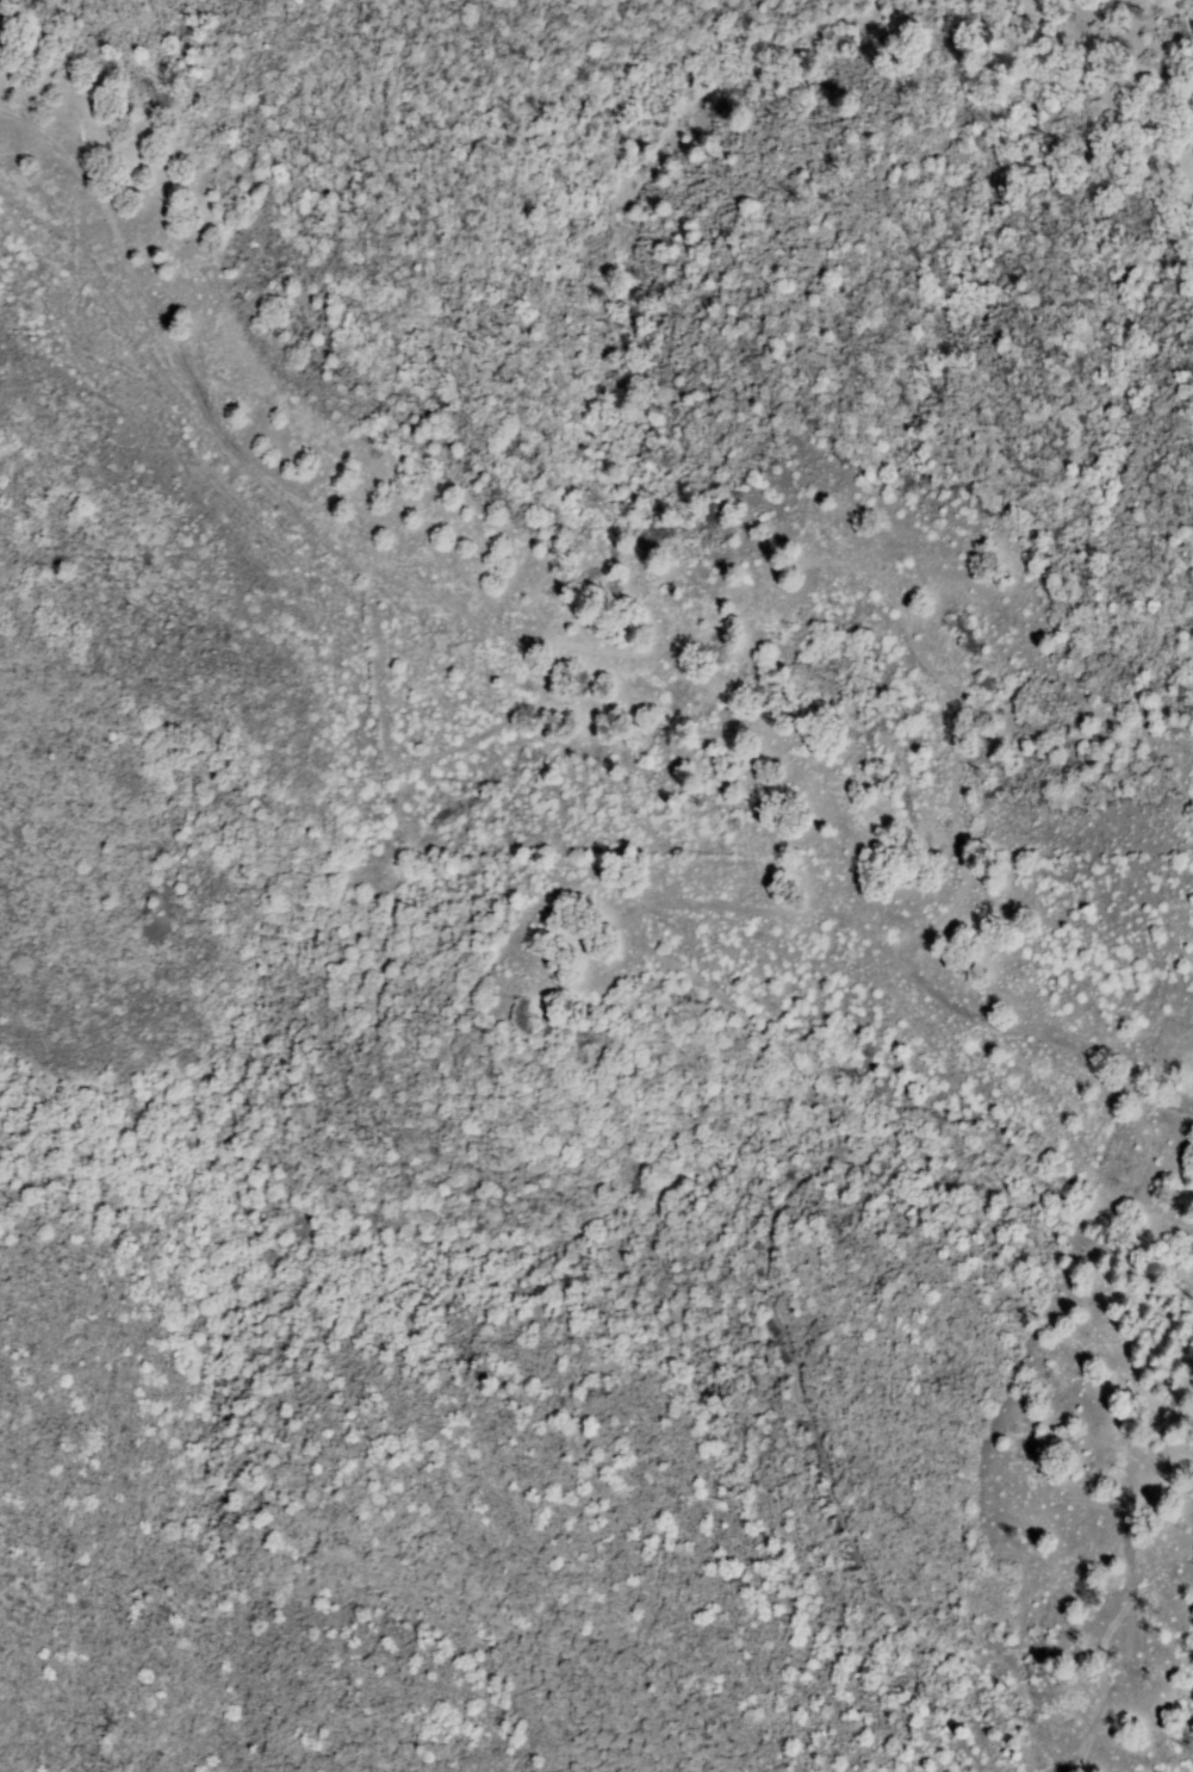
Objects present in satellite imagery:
road: (909, 966)

